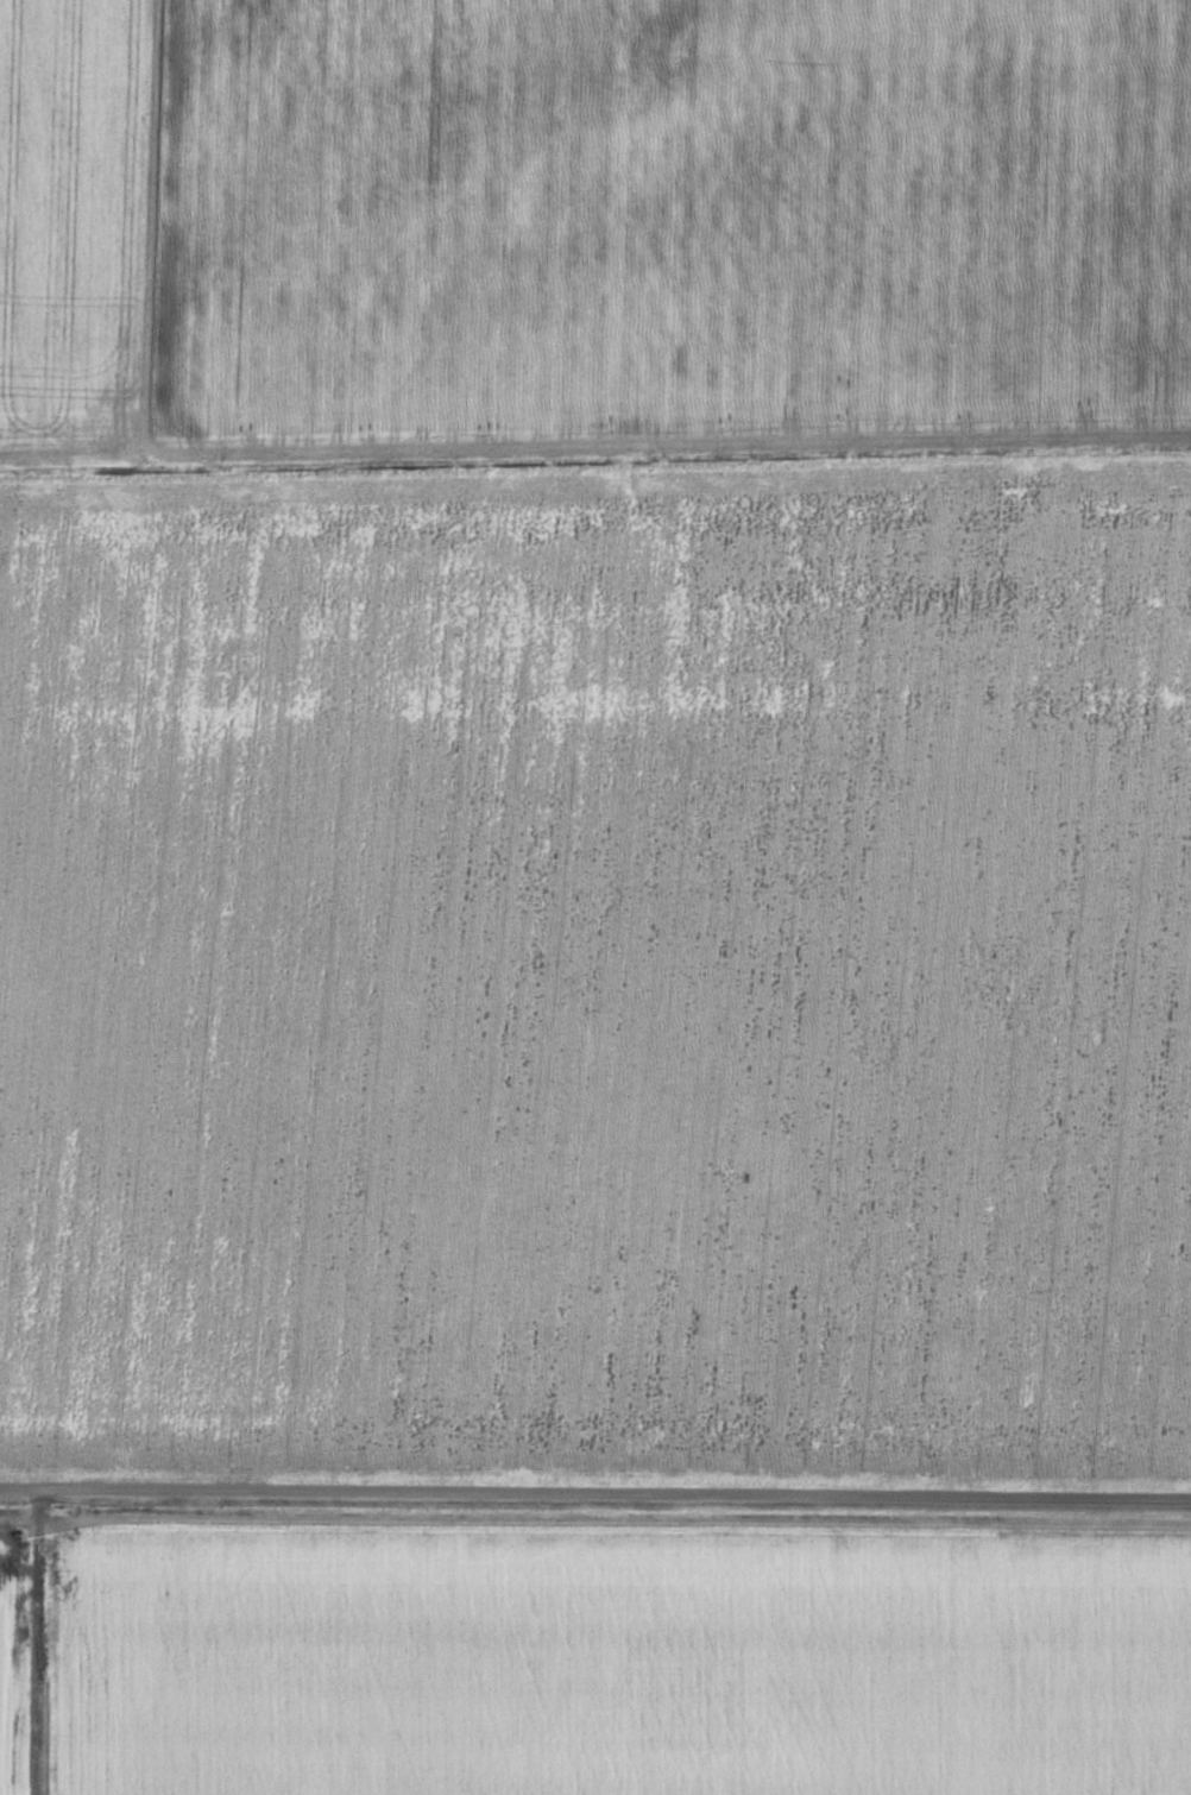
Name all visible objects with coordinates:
road: (595, 1489)

